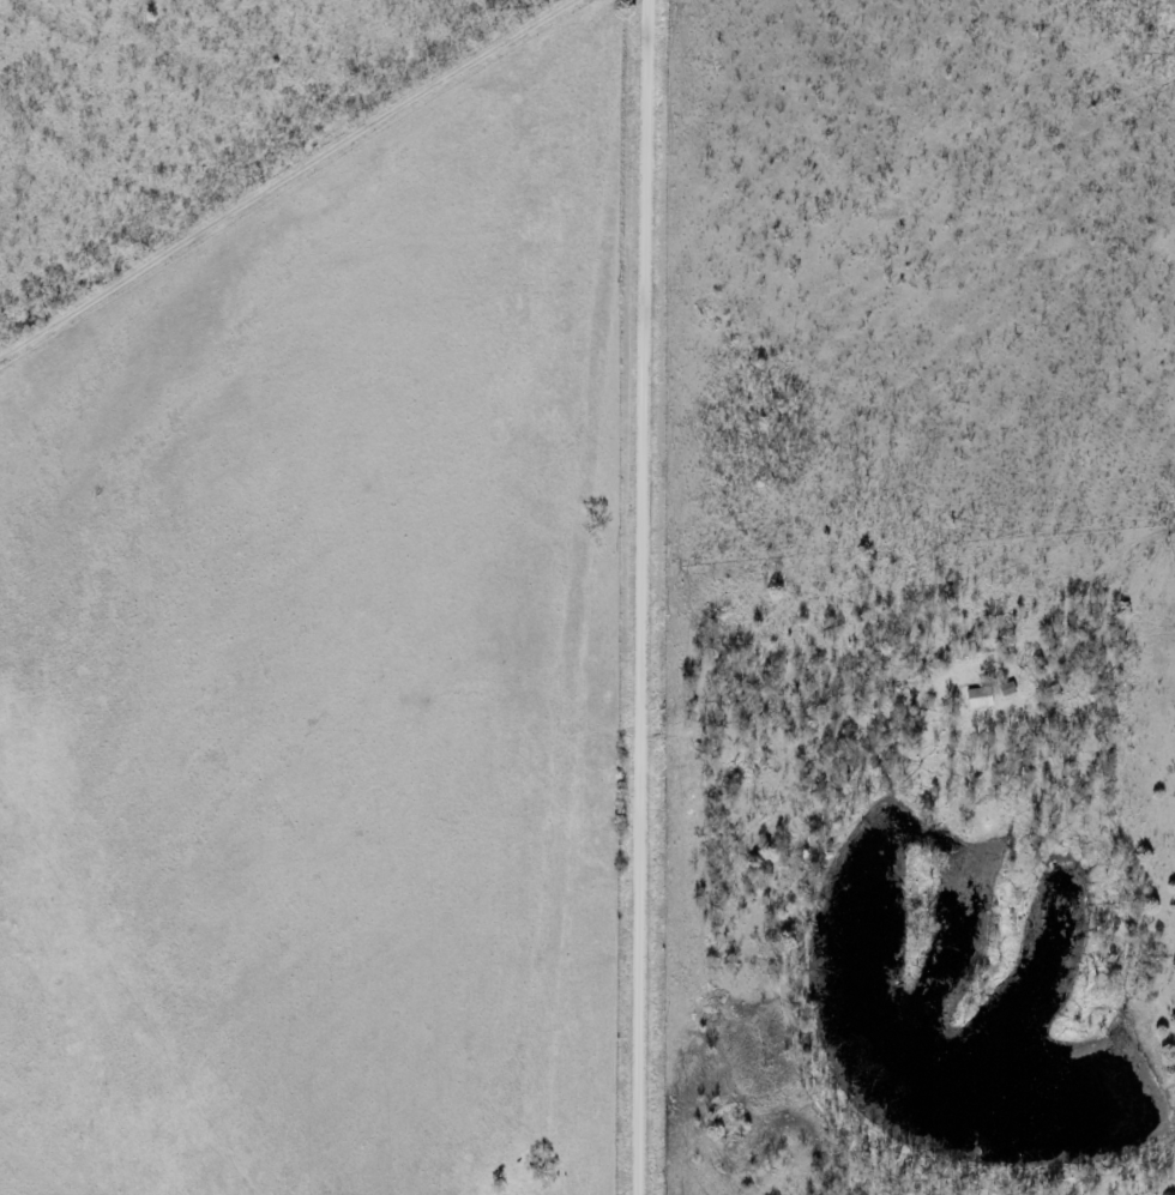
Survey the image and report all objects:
road: (650, 597)

